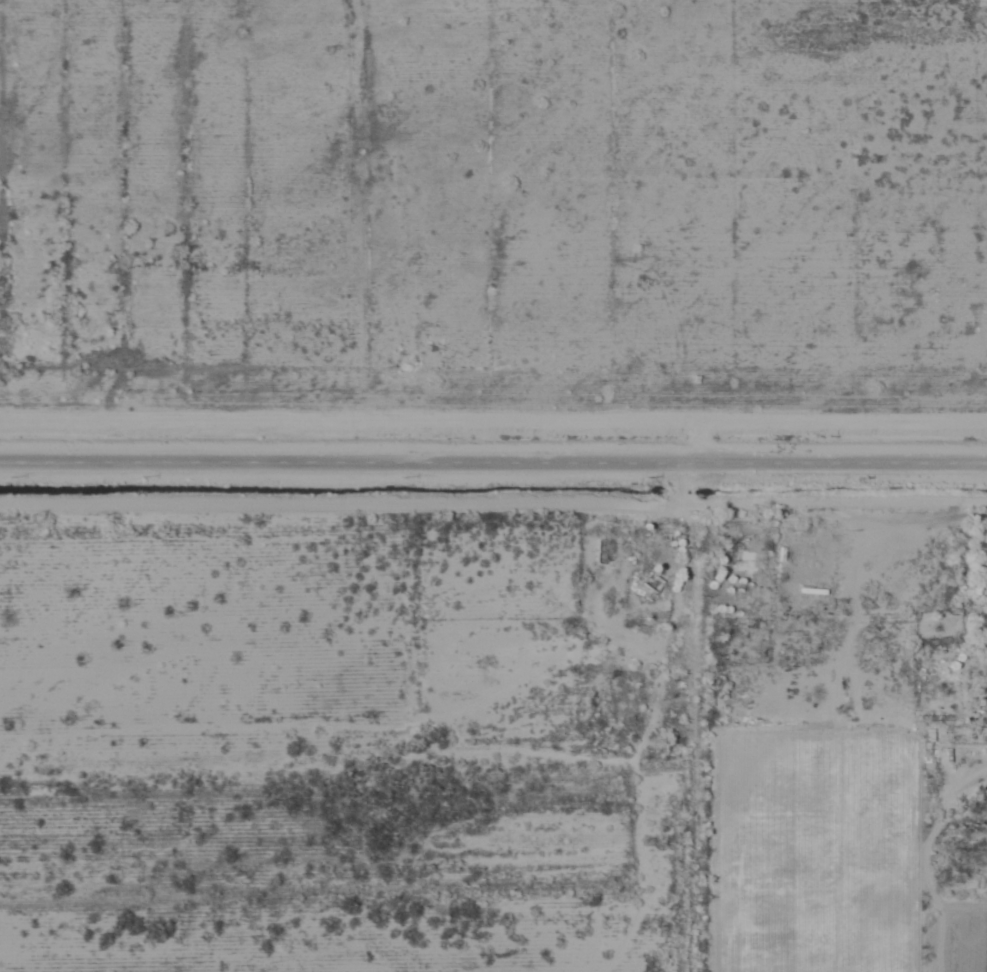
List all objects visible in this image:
road: (493, 455)
building: (746, 561)
building: (646, 581)

